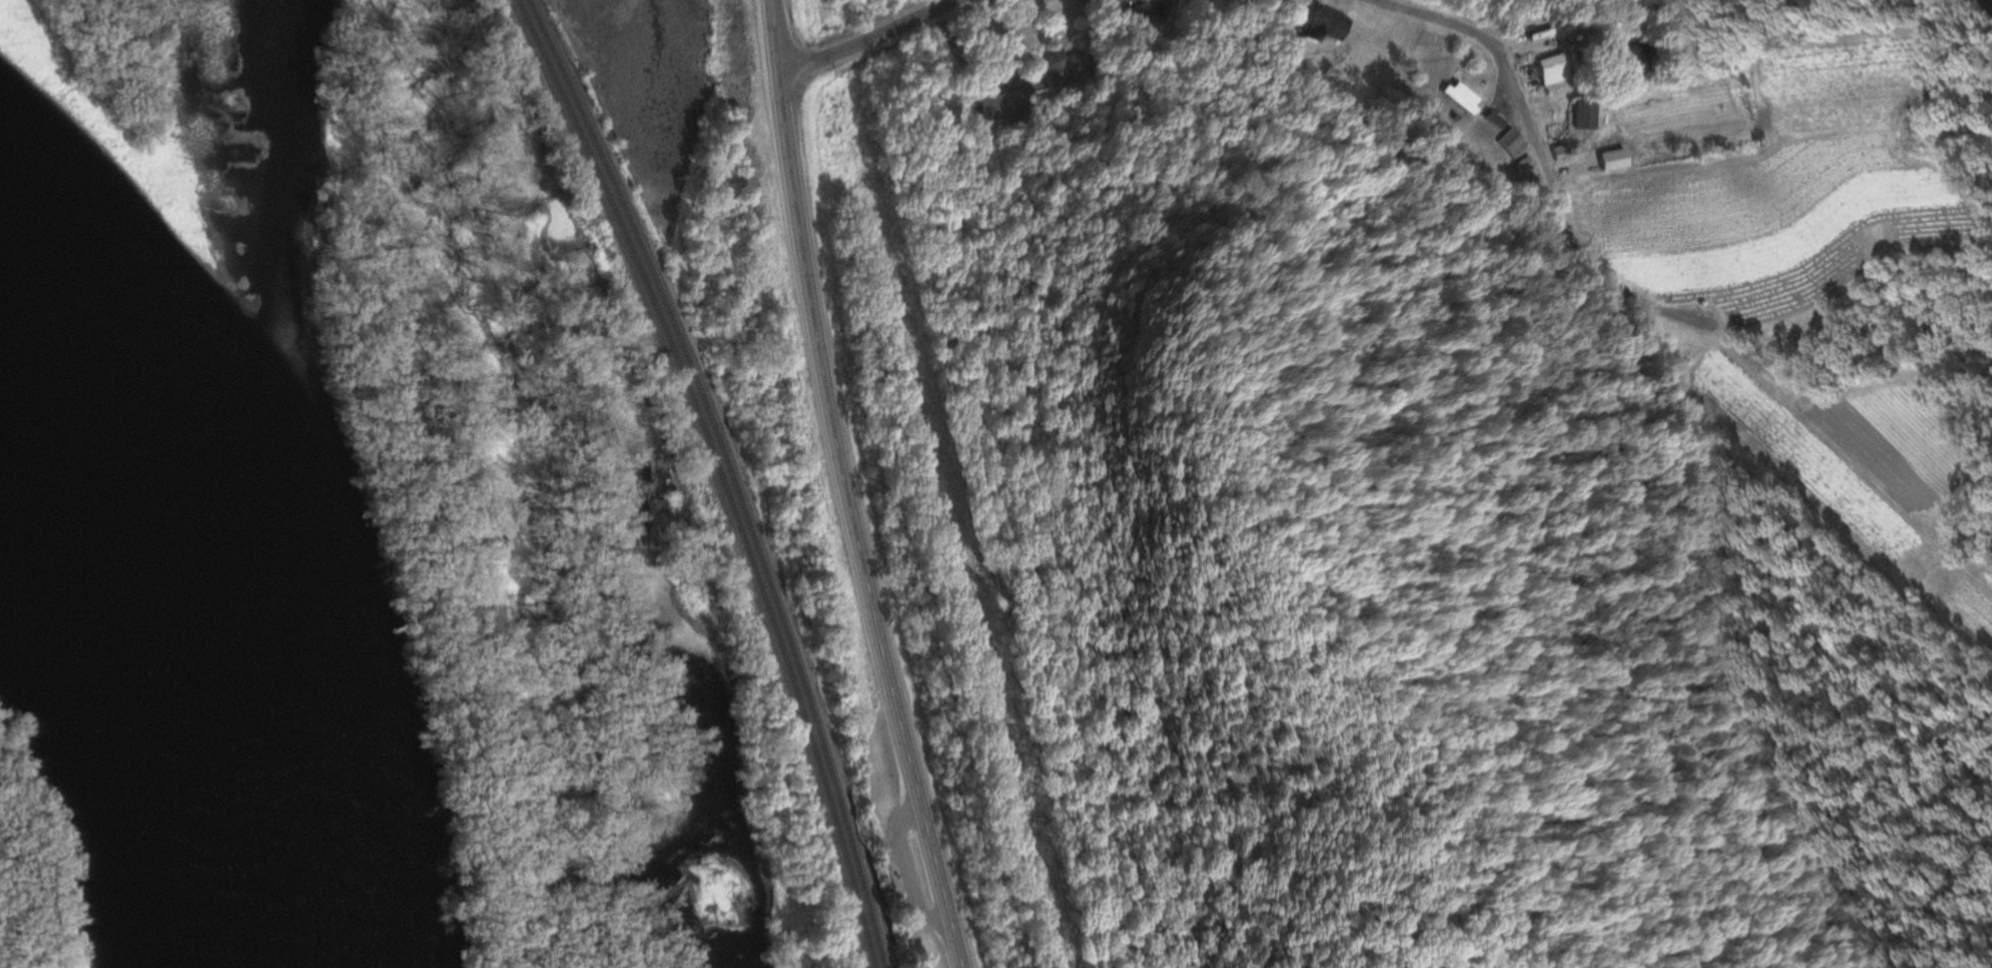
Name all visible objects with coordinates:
road: (1988, 2)
building: (1131, 17)
road: (774, 42)
road: (872, 42)
road: (1491, 54)
building: (1057, 68)
building: (999, 109)
road: (1603, 277)
railway: (721, 475)
railway: (731, 475)
road: (853, 529)
river: (194, 651)
parking lot: (909, 868)
road: (908, 874)

